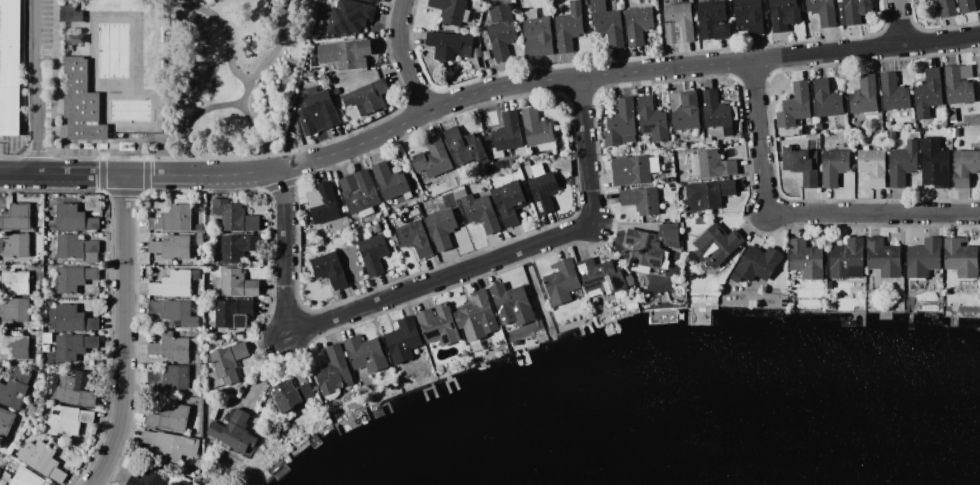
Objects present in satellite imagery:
building: (374, 0)
building: (926, 0)
building: (966, 6)
building: (946, 8)
building: (449, 10)
building: (855, 10)
building: (68, 12)
building: (823, 12)
building: (783, 14)
building: (749, 15)
building: (348, 17)
building: (713, 20)
building: (678, 22)
building: (607, 23)
road: (899, 23)
building: (638, 25)
building: (568, 27)
road: (226, 31)
building: (501, 31)
building: (538, 37)
building: (449, 45)
building: (345, 54)
road: (402, 58)
building: (10, 67)
road: (621, 73)
park: (165, 76)
building: (979, 77)
building: (959, 84)
road: (35, 87)
building: (893, 93)
building: (927, 93)
building: (864, 96)
building: (367, 97)
building: (826, 99)
road: (241, 102)
building: (82, 103)
building: (794, 106)
building: (315, 110)
building: (684, 111)
building: (716, 112)
building: (652, 119)
building: (620, 123)
building: (536, 128)
building: (508, 132)
road: (261, 135)
building: (465, 147)
building: (432, 158)
building: (935, 162)
building: (715, 164)
building: (902, 164)
building: (801, 165)
building: (833, 167)
building: (873, 167)
building: (965, 167)
building: (631, 171)
road: (138, 175)
building: (390, 181)
building: (358, 191)
building: (543, 191)
building: (708, 194)
building: (641, 200)
building: (508, 202)
building: (322, 203)
building: (481, 212)
road: (797, 213)
building: (16, 217)
building: (234, 217)
building: (73, 219)
building: (173, 219)
building: (441, 228)
building: (669, 235)
building: (414, 238)
building: (717, 245)
building: (15, 246)
building: (171, 247)
building: (238, 248)
building: (77, 249)
building: (373, 253)
building: (646, 253)
building: (882, 257)
building: (923, 257)
building: (960, 257)
building: (805, 259)
building: (847, 259)
building: (756, 264)
building: (328, 269)
building: (601, 276)
building: (73, 278)
building: (561, 282)
building: (15, 283)
building: (175, 283)
building: (237, 283)
road: (428, 283)
building: (513, 300)
building: (14, 311)
building: (174, 313)
building: (232, 313)
building: (476, 317)
building: (70, 319)
building: (438, 325)
road: (124, 333)
building: (403, 340)
building: (14, 346)
building: (73, 346)
building: (171, 349)
building: (365, 353)
building: (228, 362)
building: (333, 371)
building: (175, 378)
building: (14, 388)
building: (75, 391)
building: (286, 396)
building: (174, 418)
building: (68, 420)
building: (5, 421)
building: (234, 432)
building: (170, 444)
building: (41, 460)
building: (26, 478)
building: (146, 479)
building: (174, 483)

